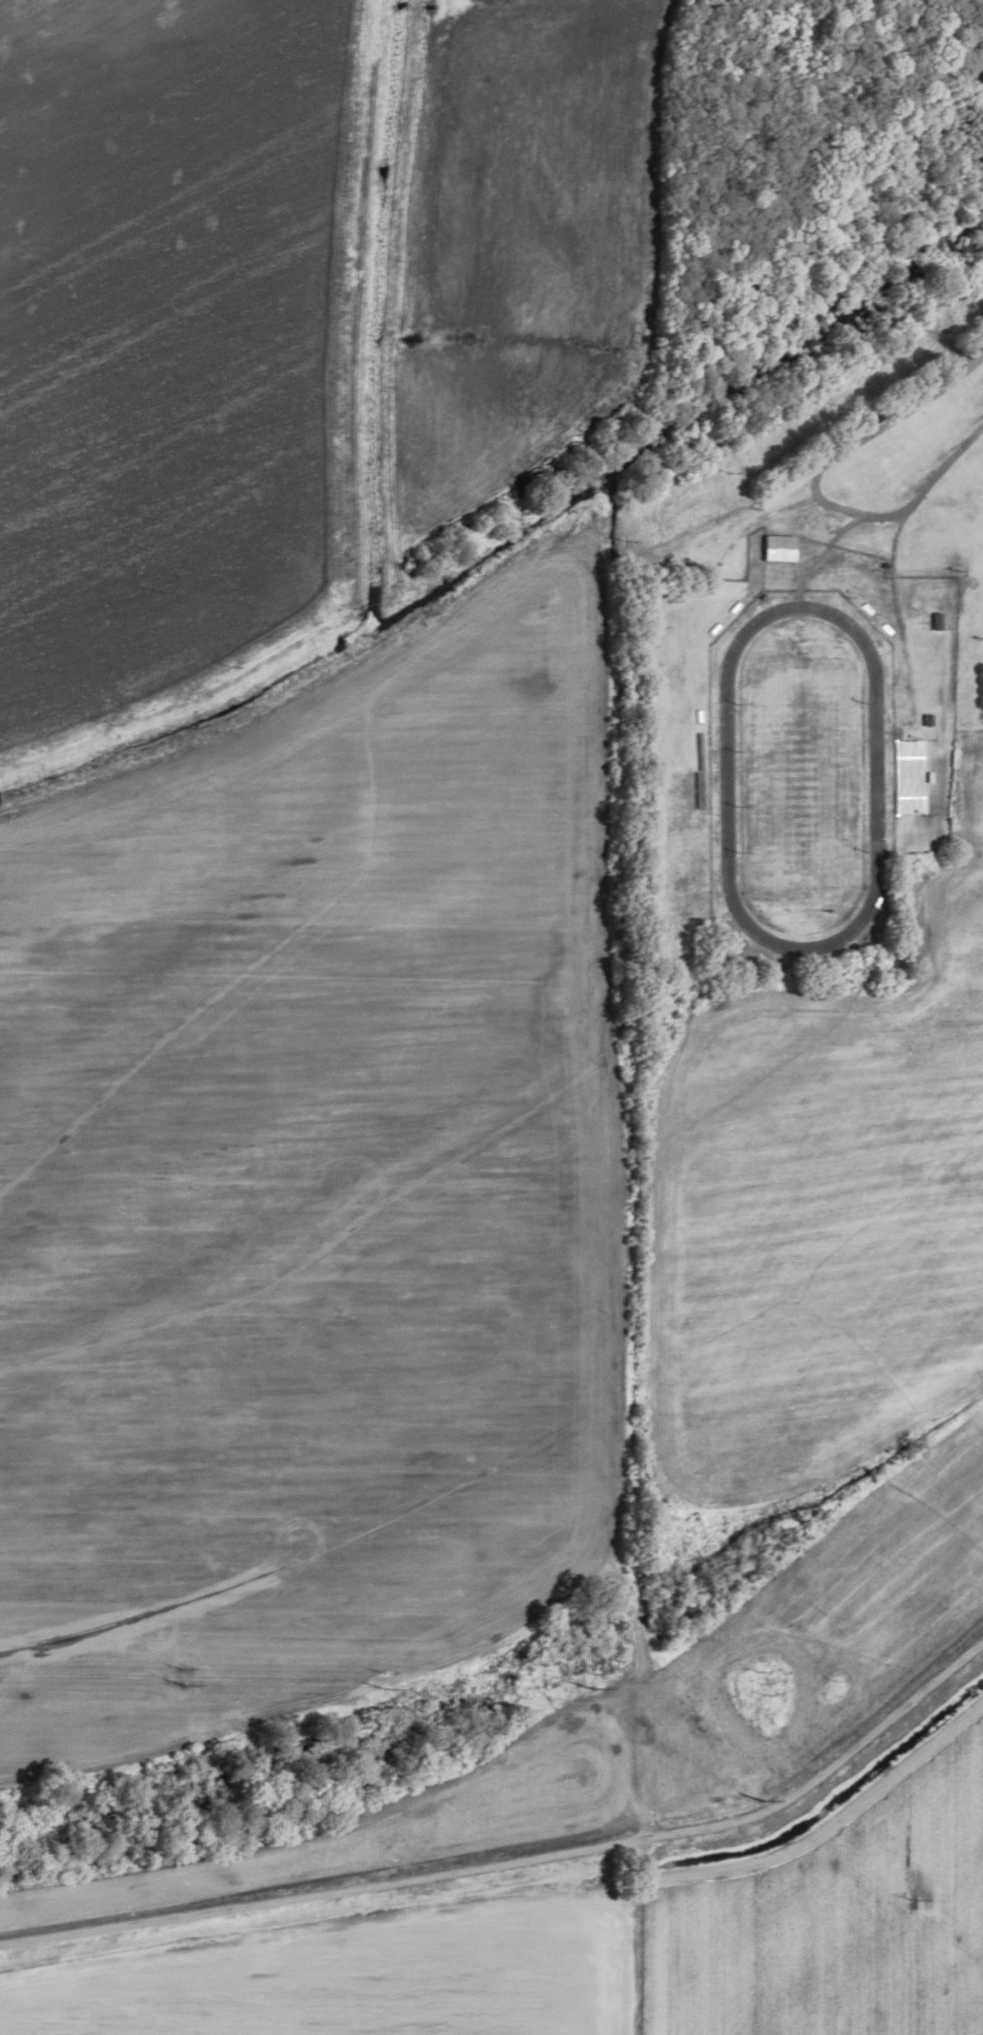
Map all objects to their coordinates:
road: (890, 415)
road: (911, 502)
building: (776, 548)
building: (934, 621)
building: (906, 759)
park: (800, 778)
track: (800, 779)
road: (521, 1862)

